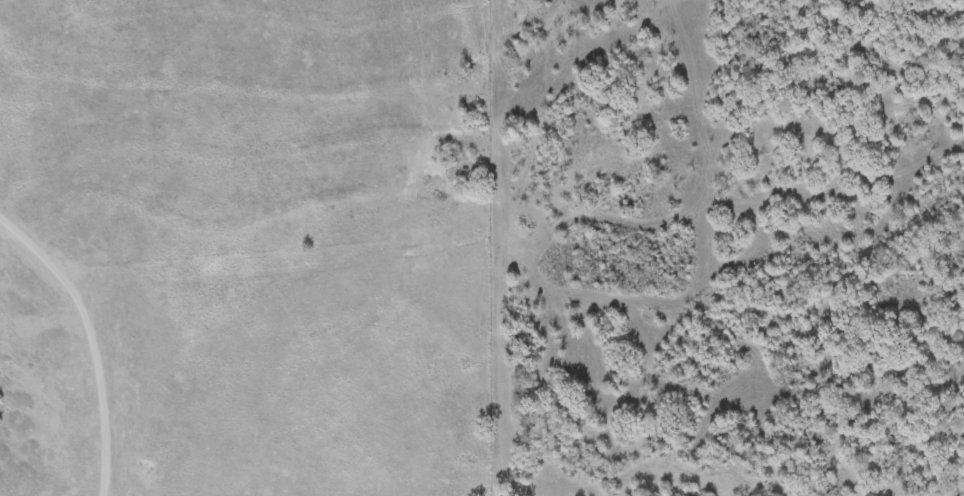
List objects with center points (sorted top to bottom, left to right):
road: (90, 333)
road: (101, 488)
road: (104, 488)

